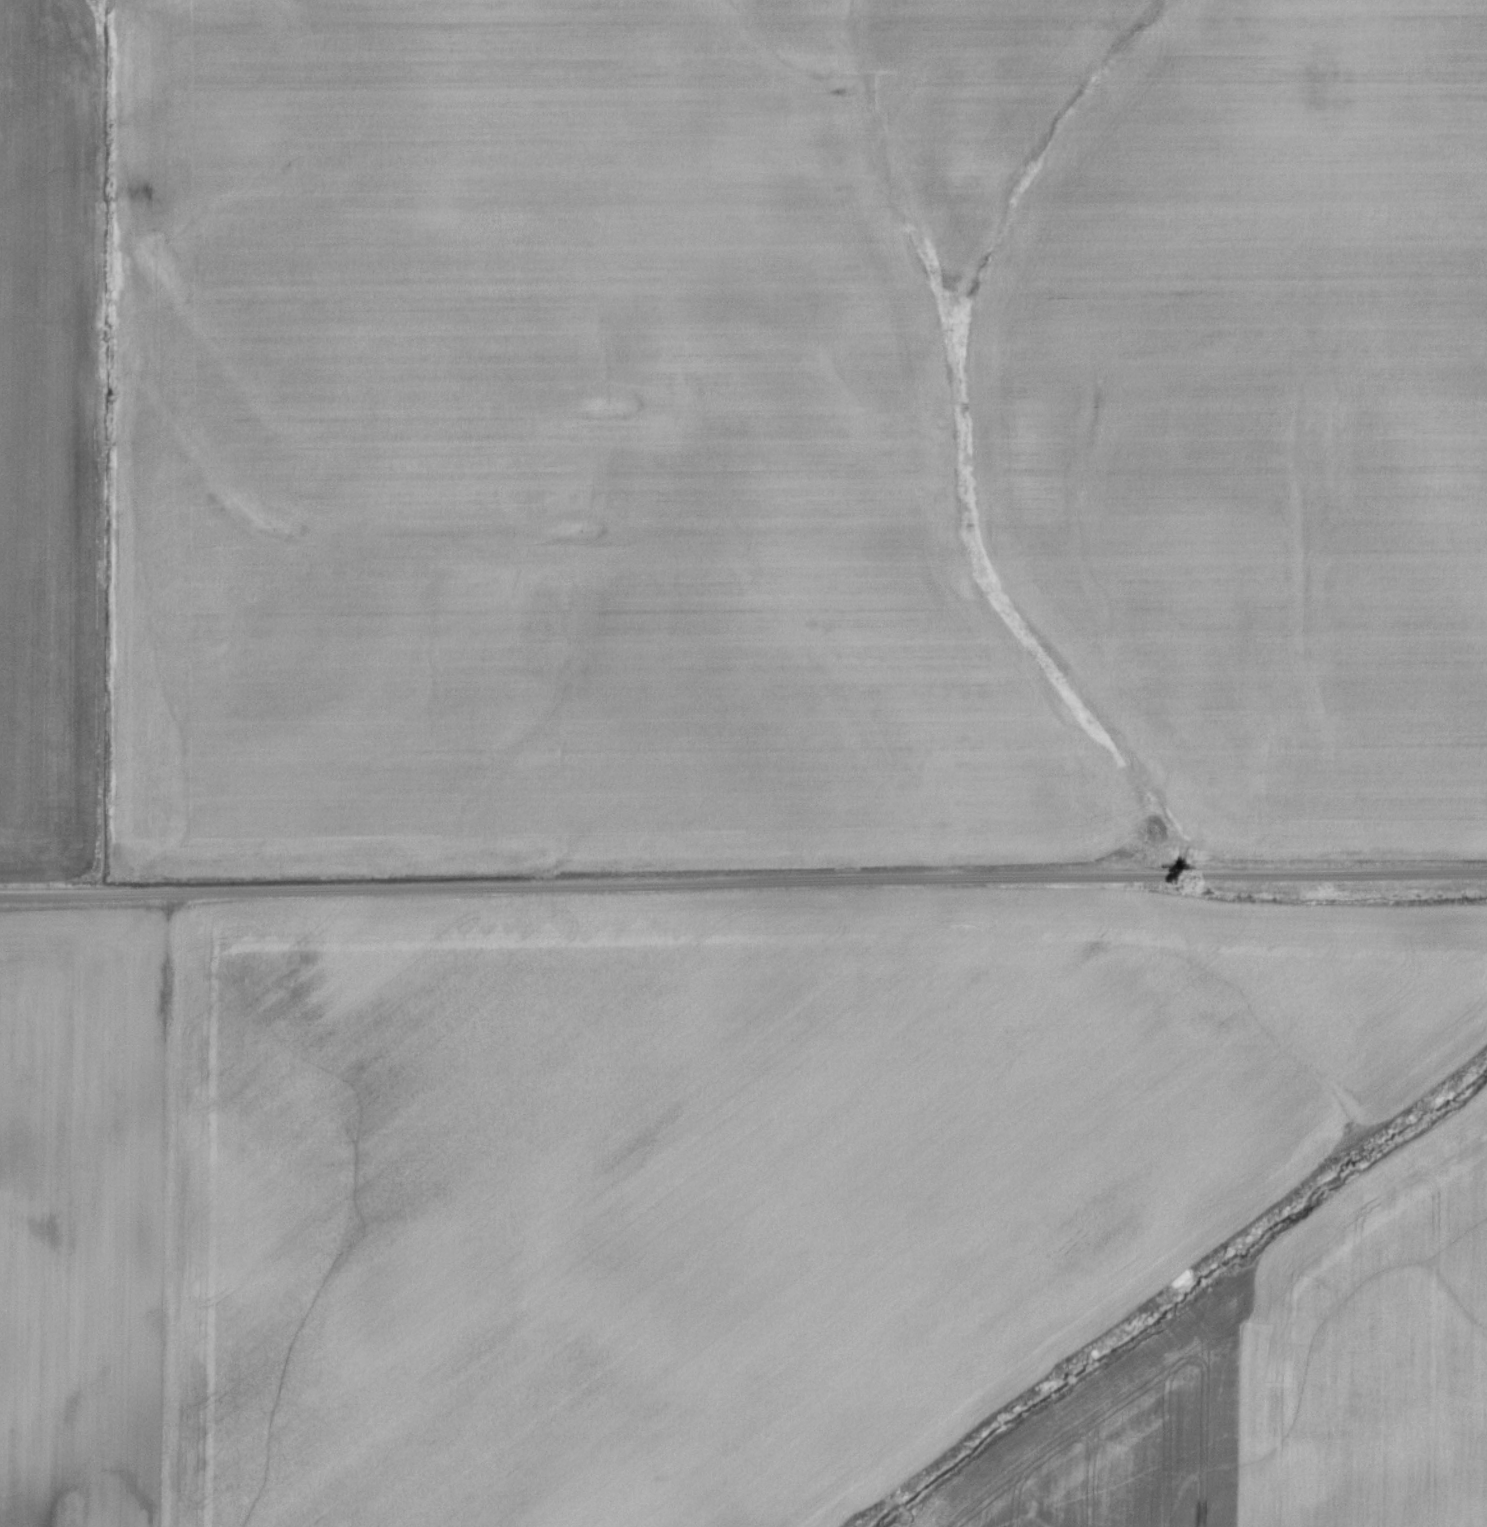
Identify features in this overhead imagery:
road: (743, 880)

